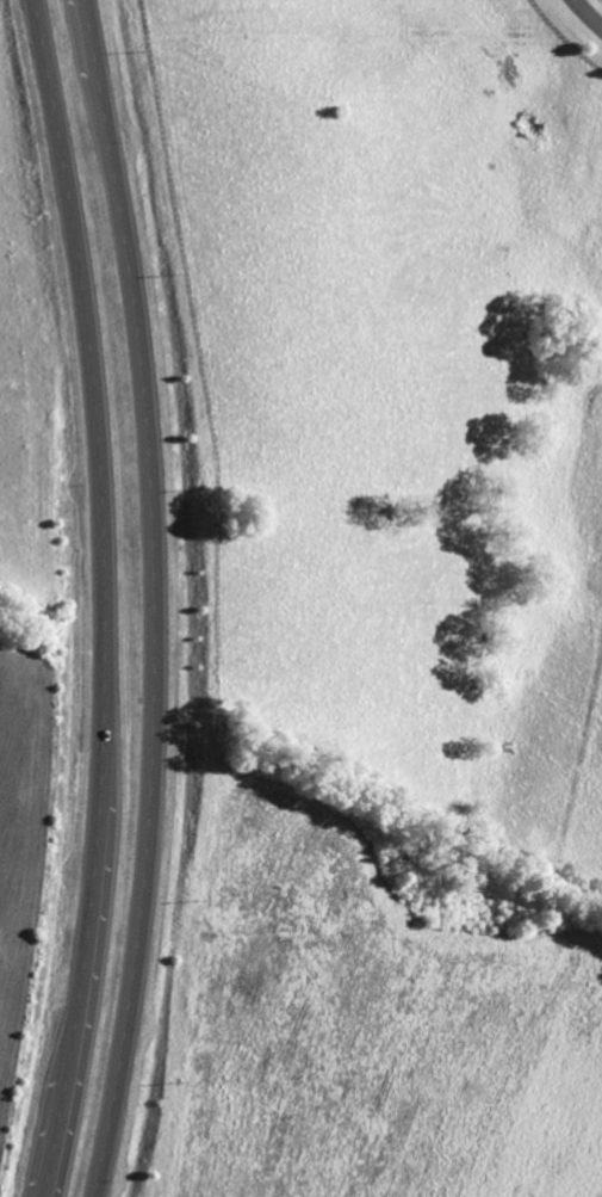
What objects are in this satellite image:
road: (587, 14)
road: (106, 598)
road: (156, 598)
road: (492, 1060)
road: (445, 1110)
road: (402, 1189)

